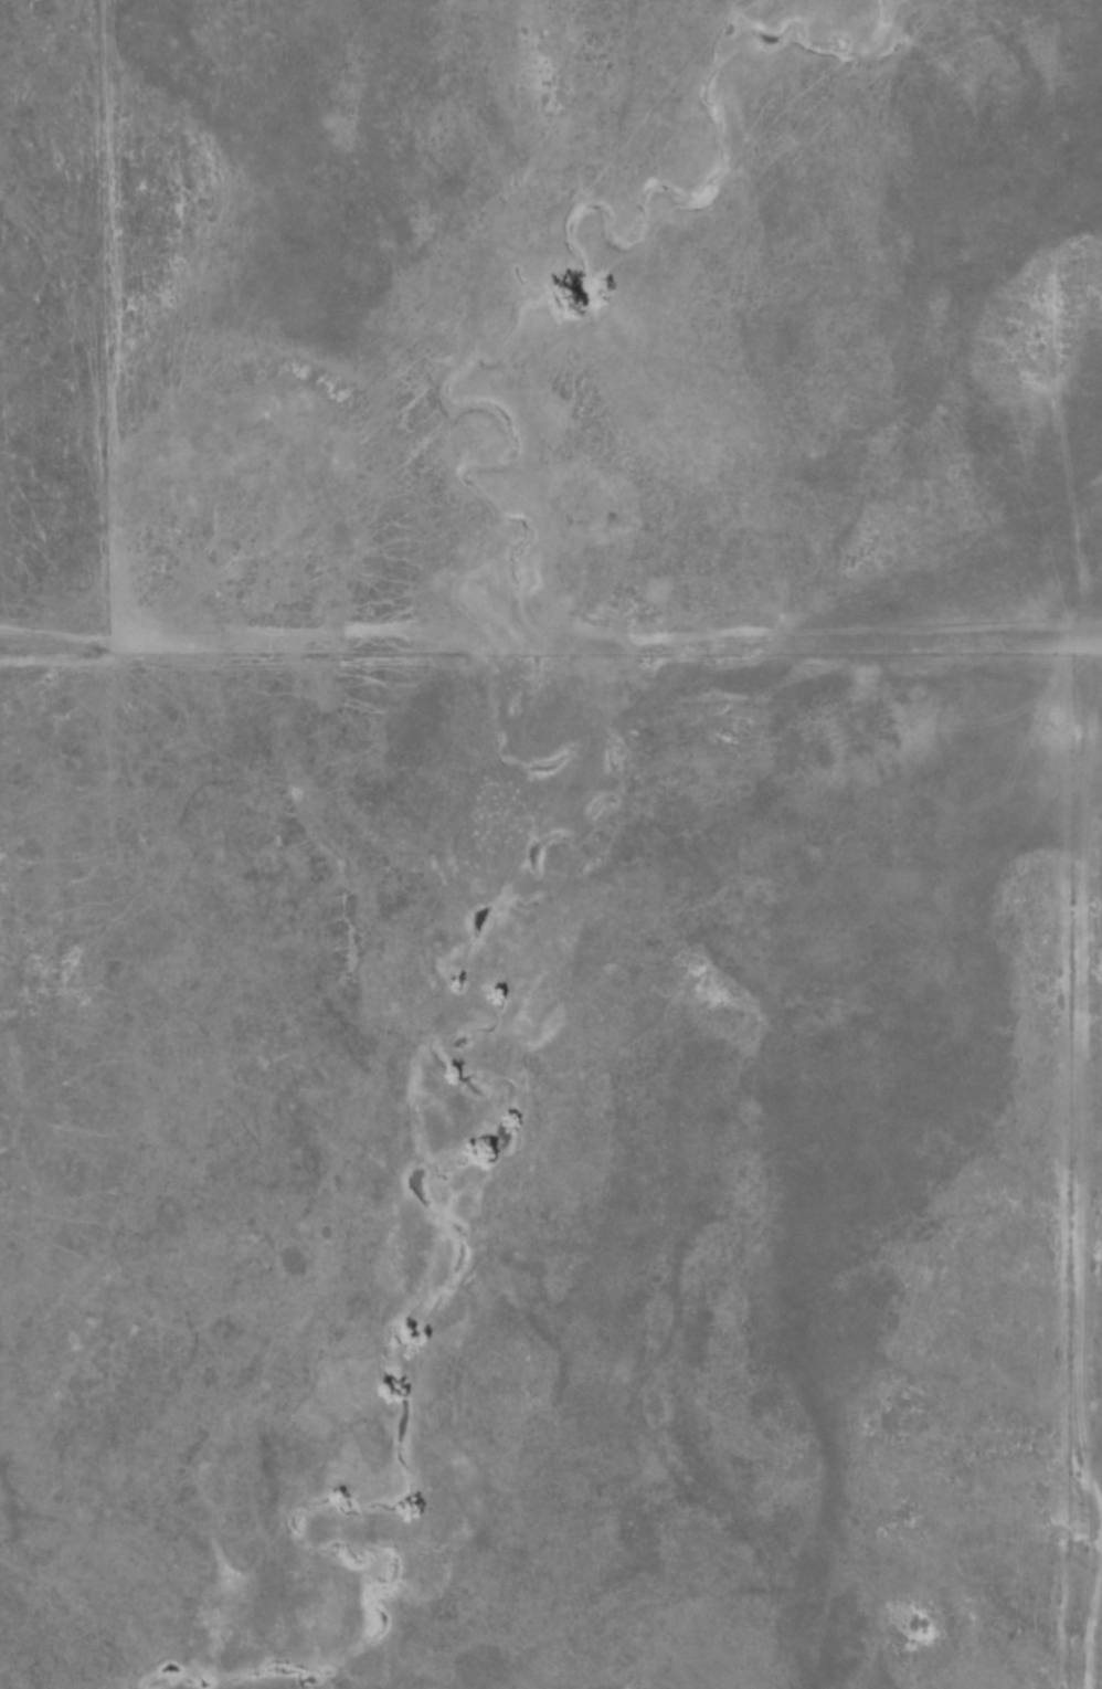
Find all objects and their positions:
road: (1068, 819)

